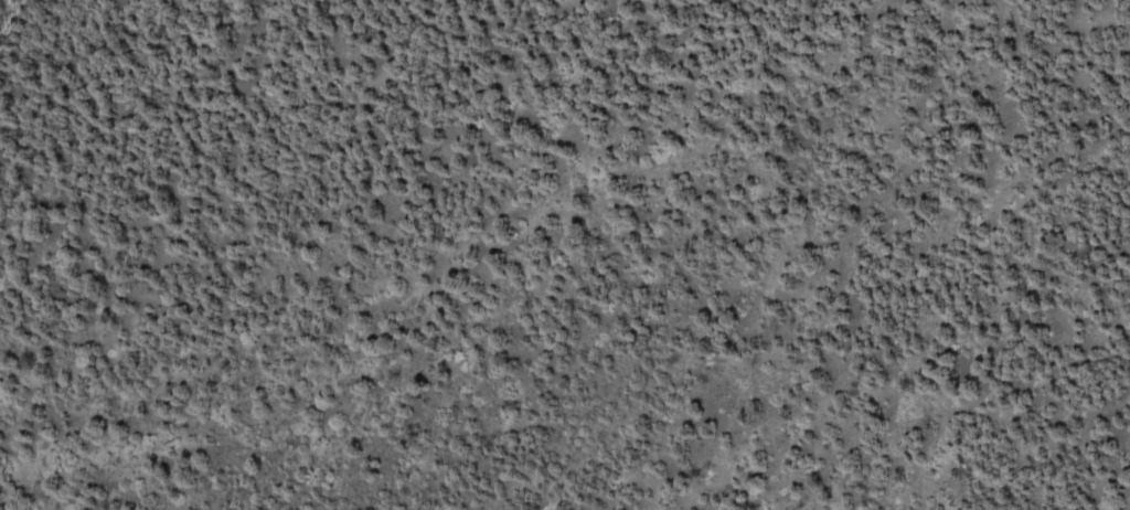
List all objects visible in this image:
road: (211, 403)

